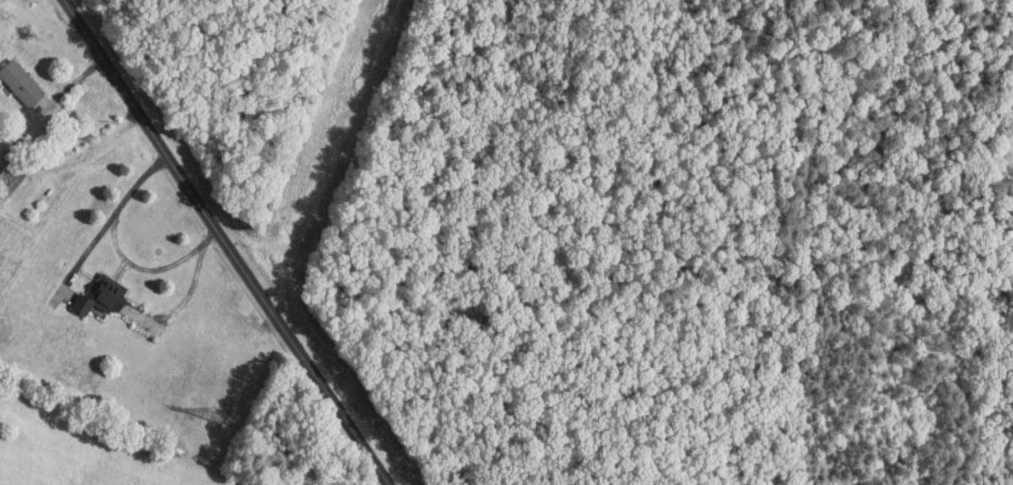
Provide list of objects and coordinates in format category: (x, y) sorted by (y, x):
building: (24, 87)
road: (224, 242)
road: (119, 250)
building: (102, 295)
power tower: (217, 412)

